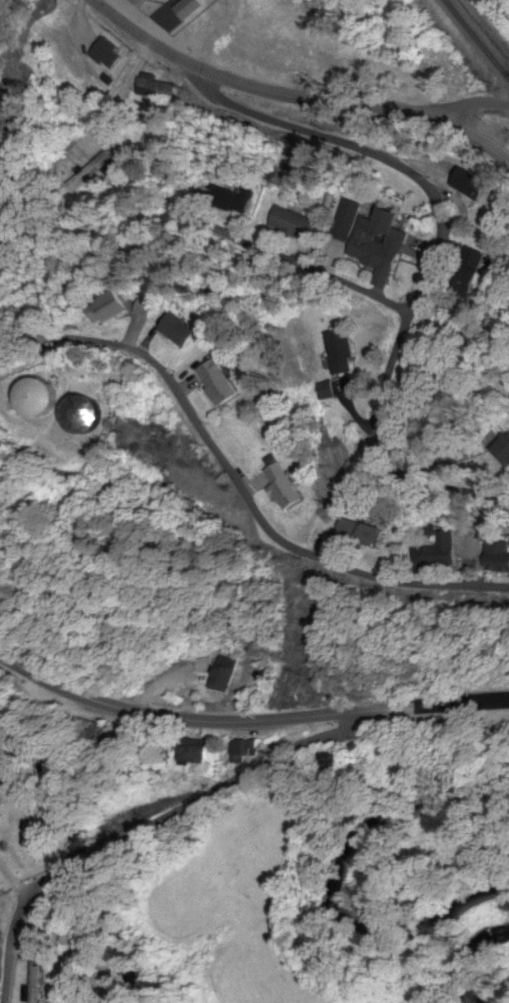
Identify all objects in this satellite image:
building: (170, 1)
building: (178, 13)
railway: (480, 37)
road: (295, 97)
road: (469, 107)
building: (472, 186)
building: (296, 222)
building: (380, 241)
road: (294, 267)
road: (431, 269)
building: (109, 309)
building: (146, 311)
building: (180, 331)
building: (220, 384)
building: (40, 400)
building: (86, 417)
road: (413, 428)
road: (238, 485)
building: (286, 488)
building: (364, 533)
building: (443, 551)
building: (501, 558)
building: (227, 675)
road: (248, 721)
building: (107, 733)
building: (245, 749)
building: (196, 754)
building: (0, 805)
road: (150, 826)
building: (33, 985)

